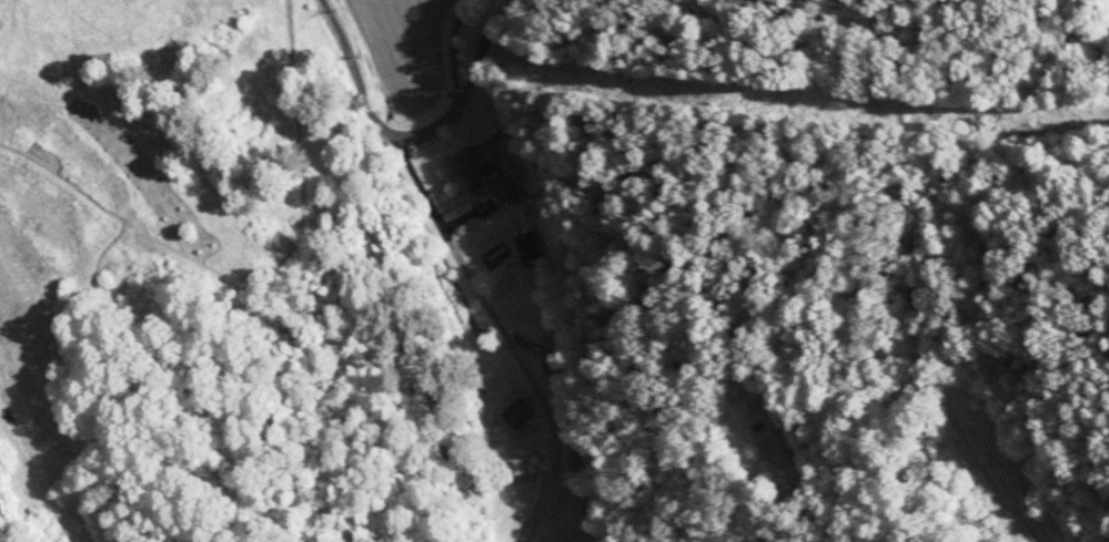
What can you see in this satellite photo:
road: (473, 64)
road: (349, 72)
building: (472, 168)
building: (506, 192)
building: (526, 249)
road: (496, 328)
building: (516, 413)

